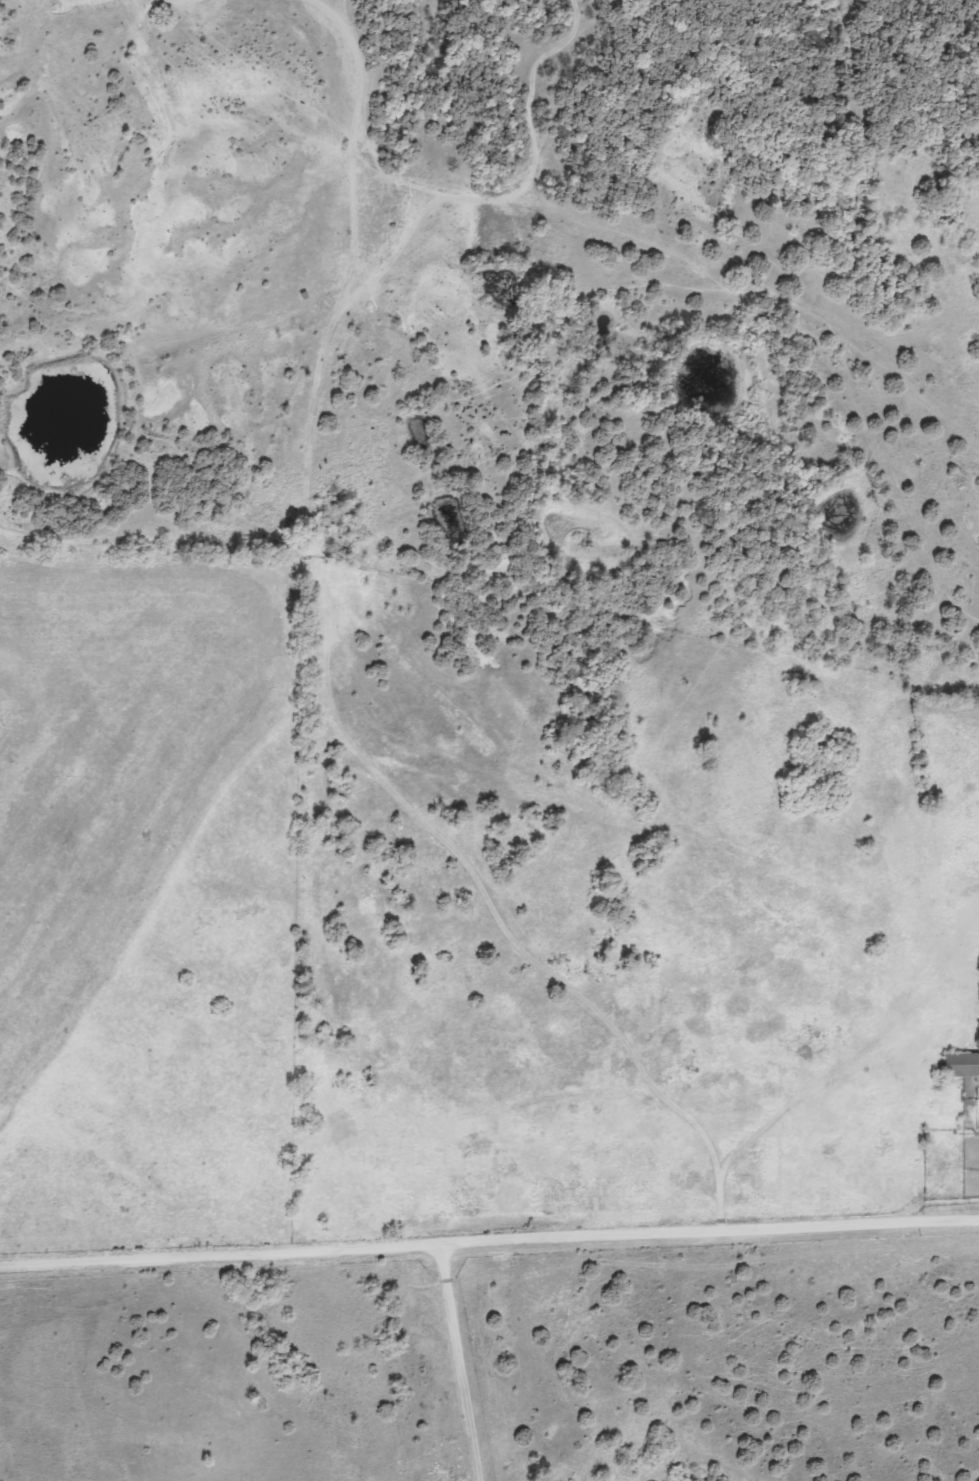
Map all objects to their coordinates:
building: (959, 1064)
road: (489, 1240)
road: (460, 1361)

